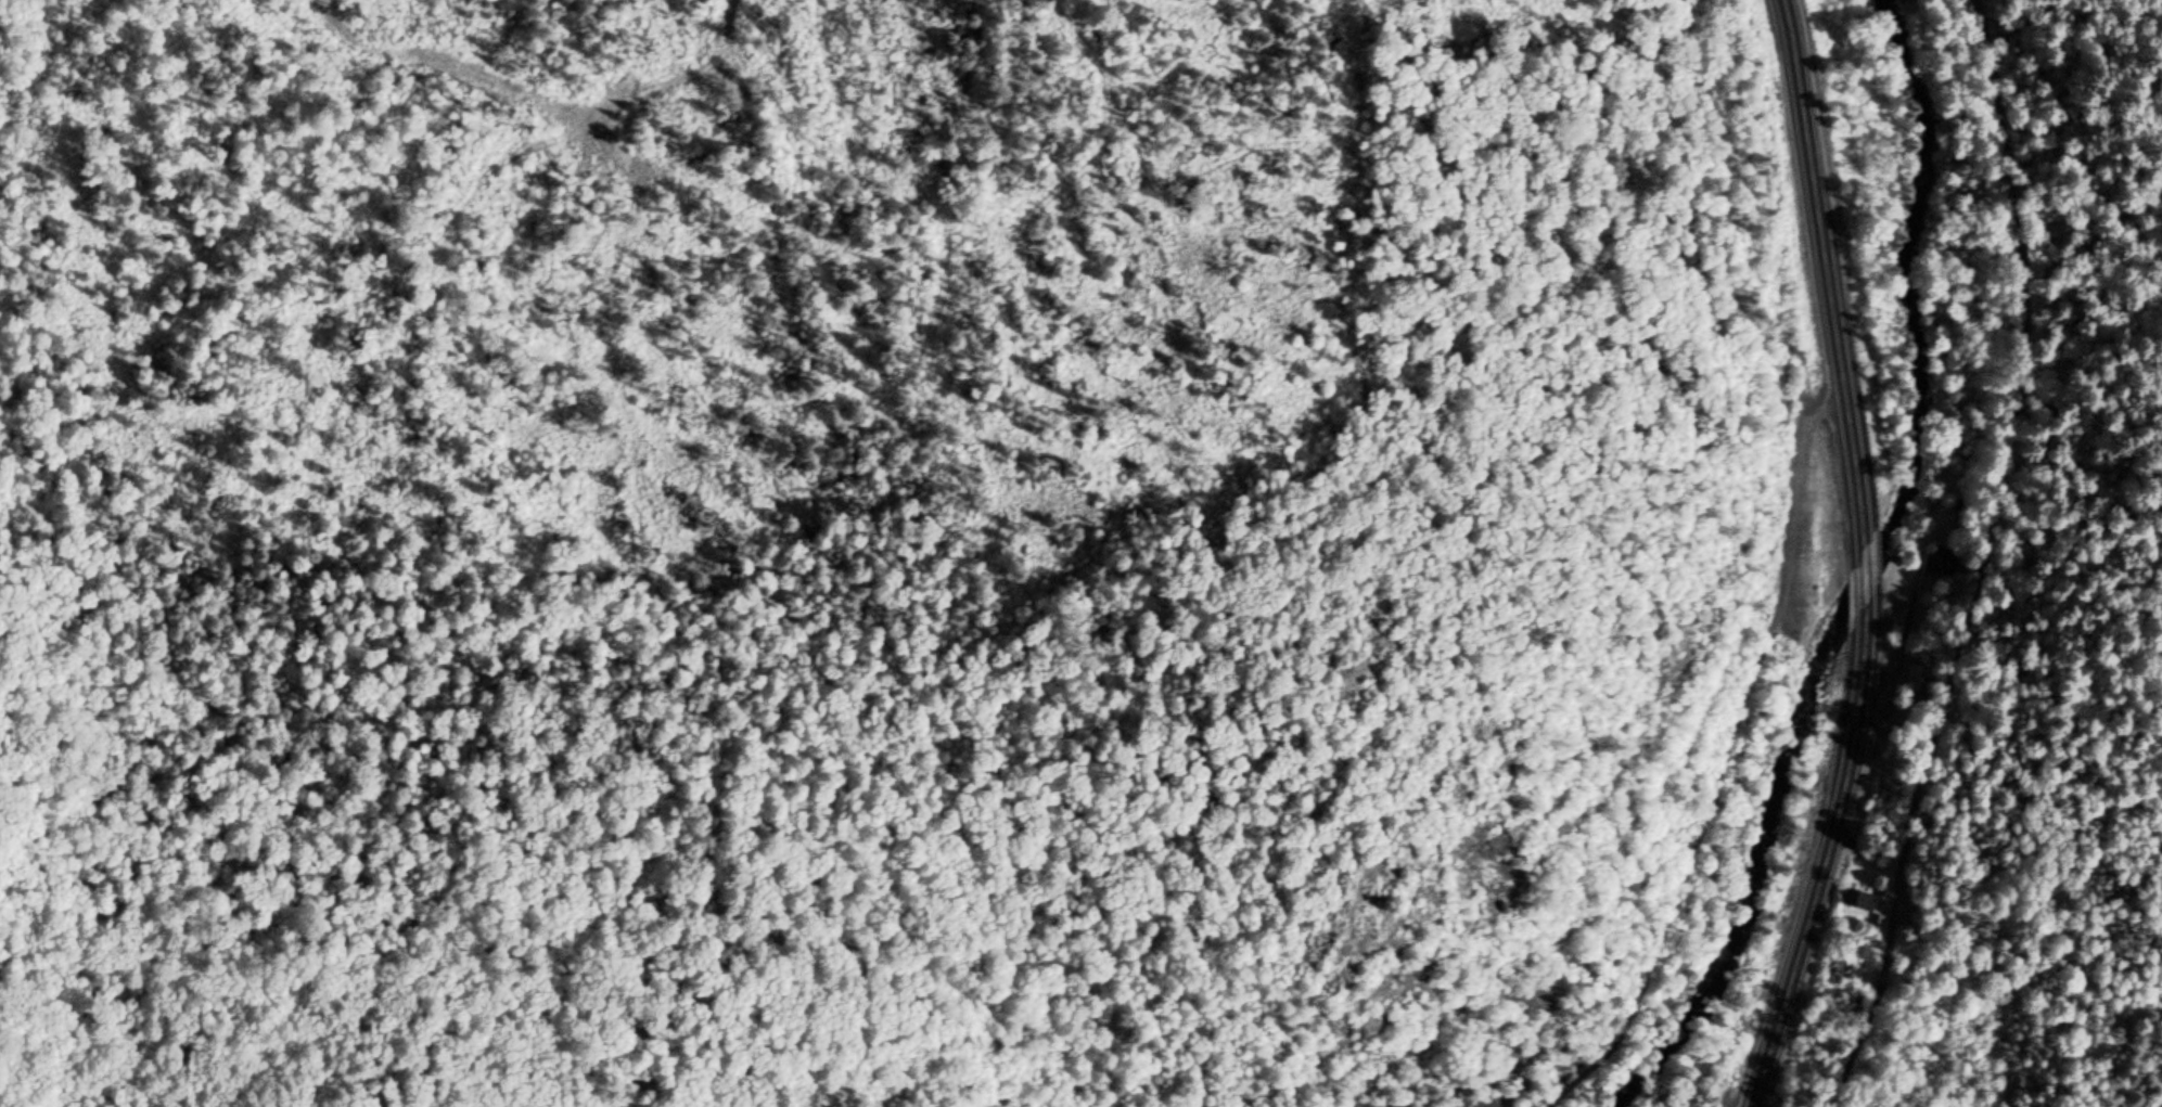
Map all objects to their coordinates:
road: (1826, 272)
river: (1866, 576)
road: (1862, 577)
building: (1924, 644)
road: (1822, 860)
building: (1863, 902)

